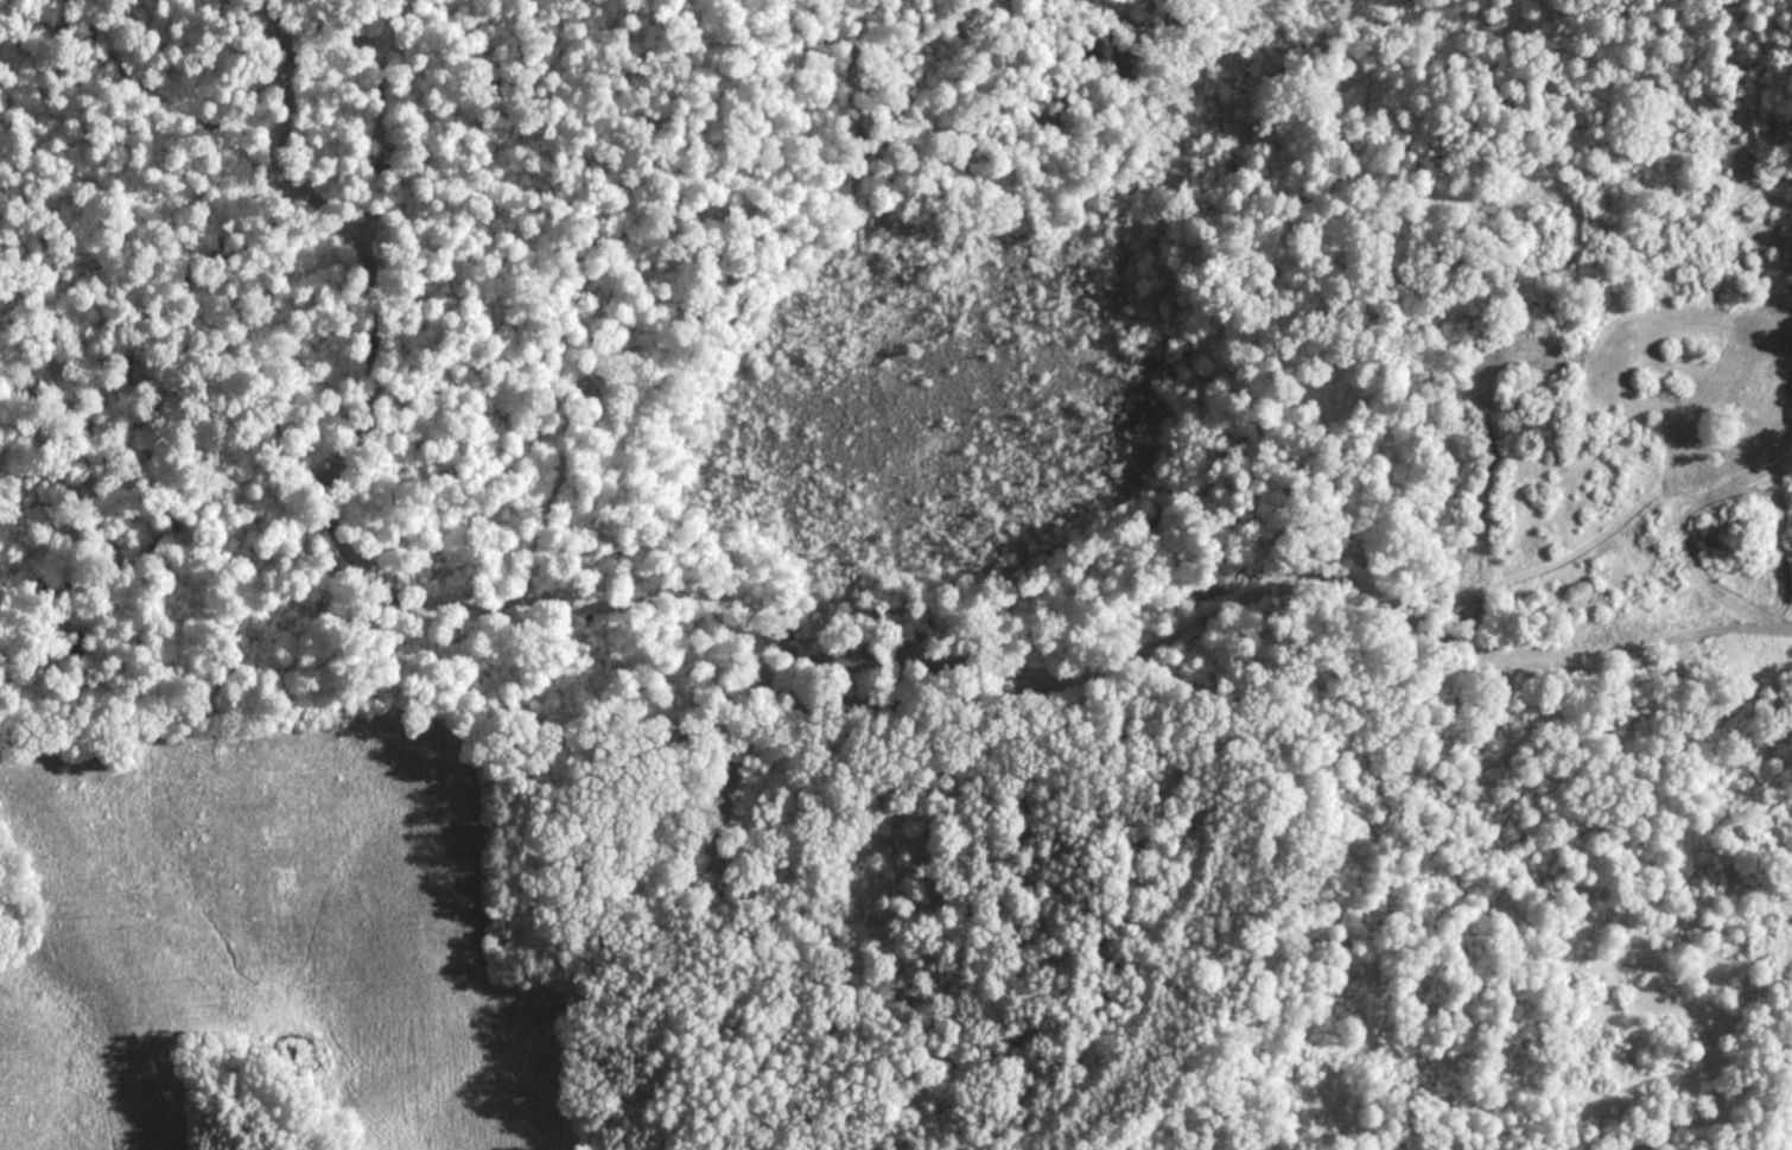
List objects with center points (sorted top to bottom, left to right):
road: (761, 666)

